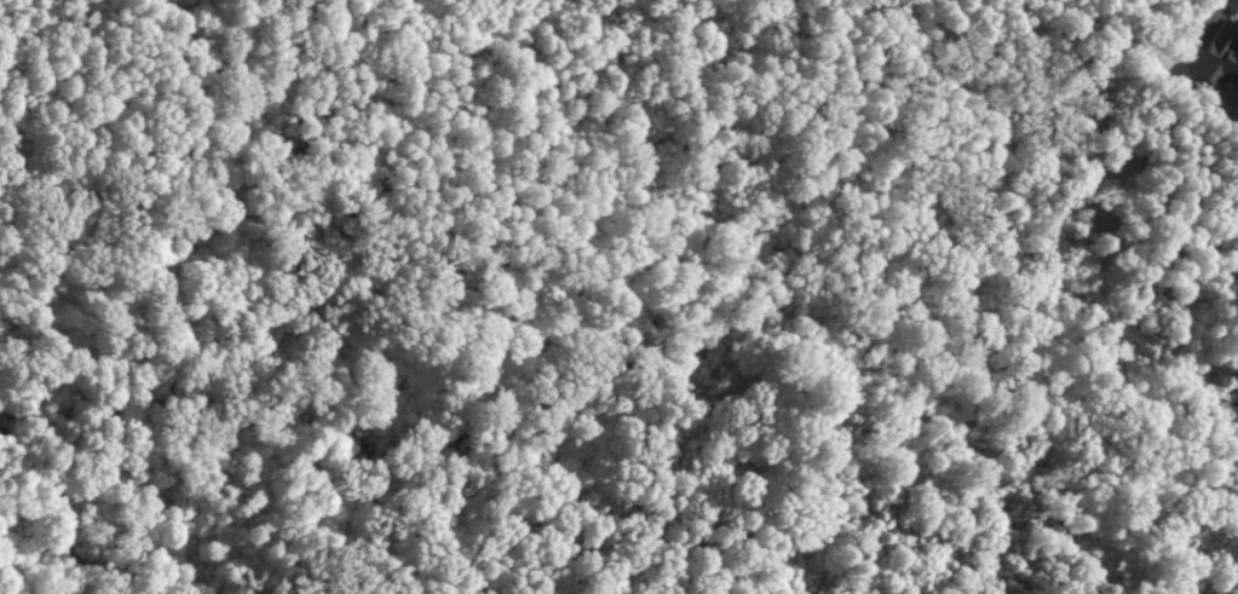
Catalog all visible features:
building: (1213, 51)

